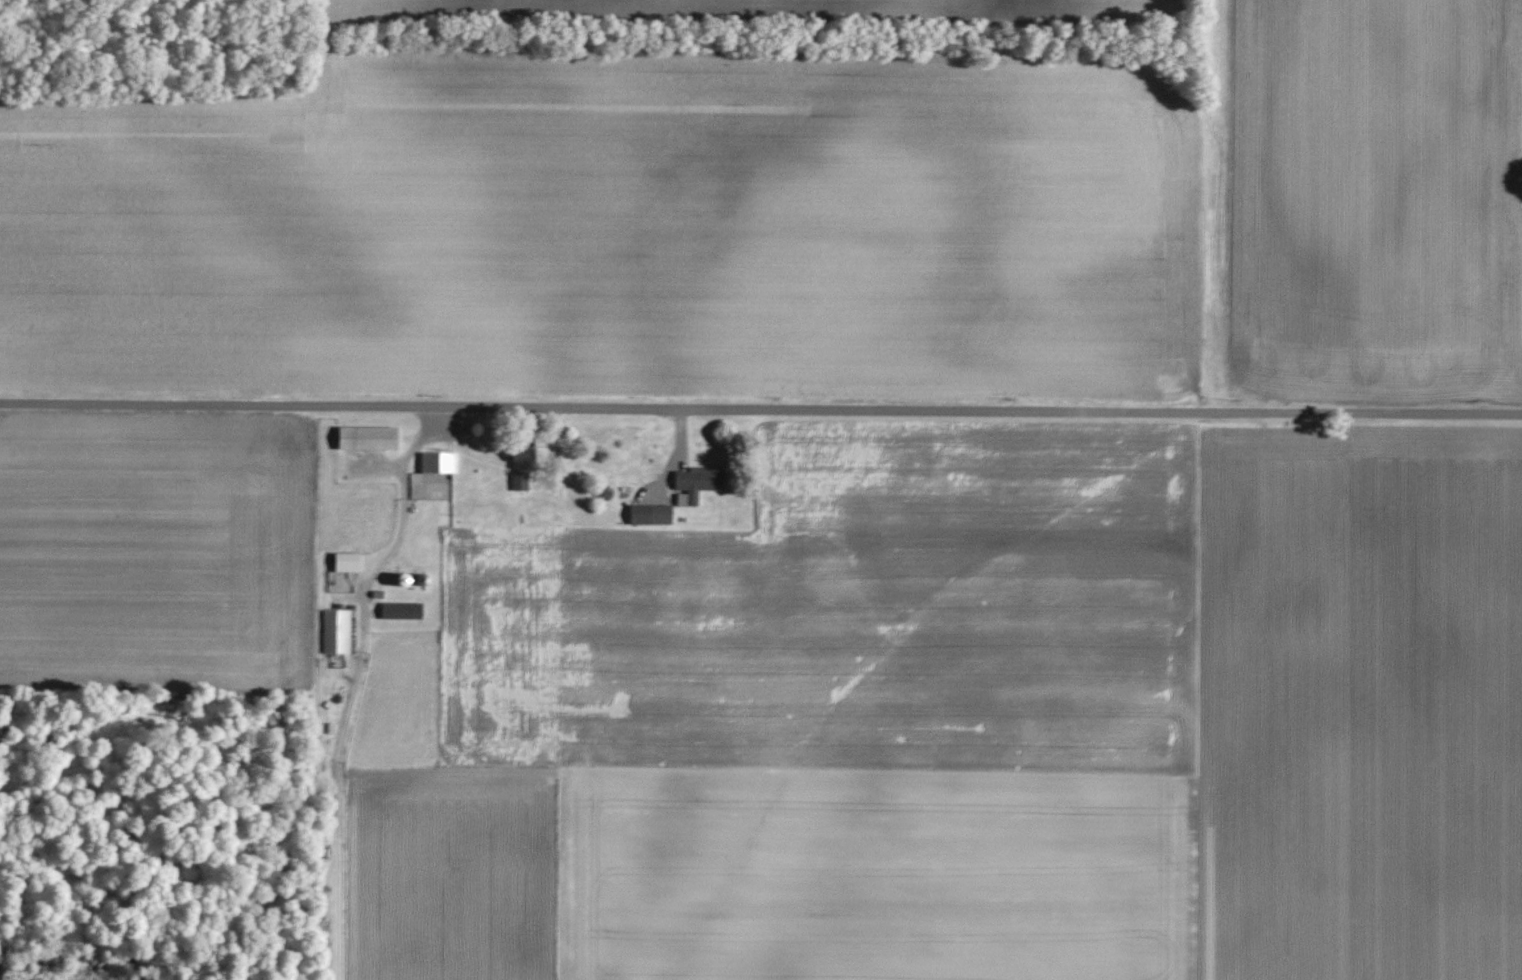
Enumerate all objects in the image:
road: (760, 409)
building: (370, 438)
building: (526, 460)
building: (440, 463)
building: (521, 482)
building: (700, 482)
road: (399, 520)
building: (349, 562)
building: (403, 610)
building: (337, 630)

